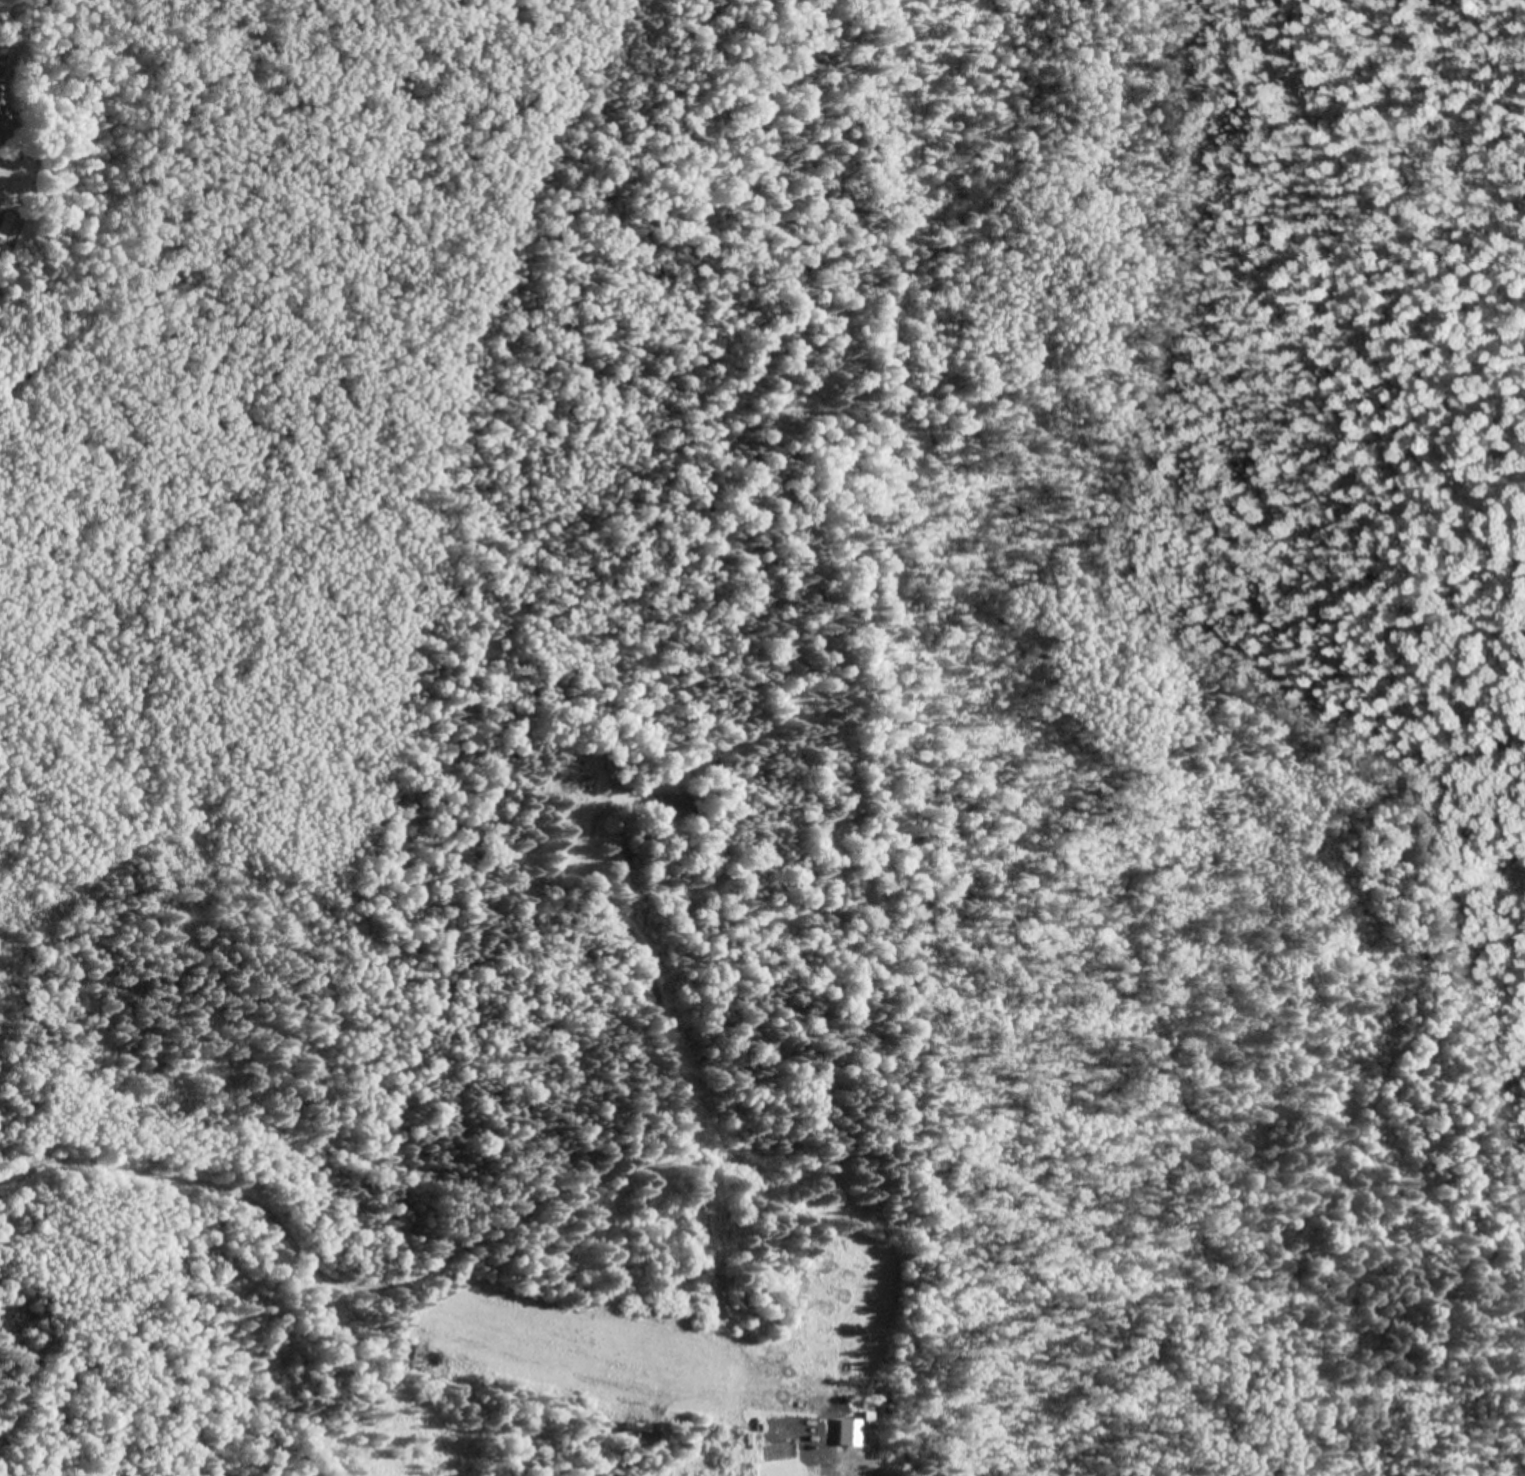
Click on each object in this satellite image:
building: (1, 104)
building: (0, 119)
building: (581, 780)
building: (674, 805)
building: (849, 1430)

